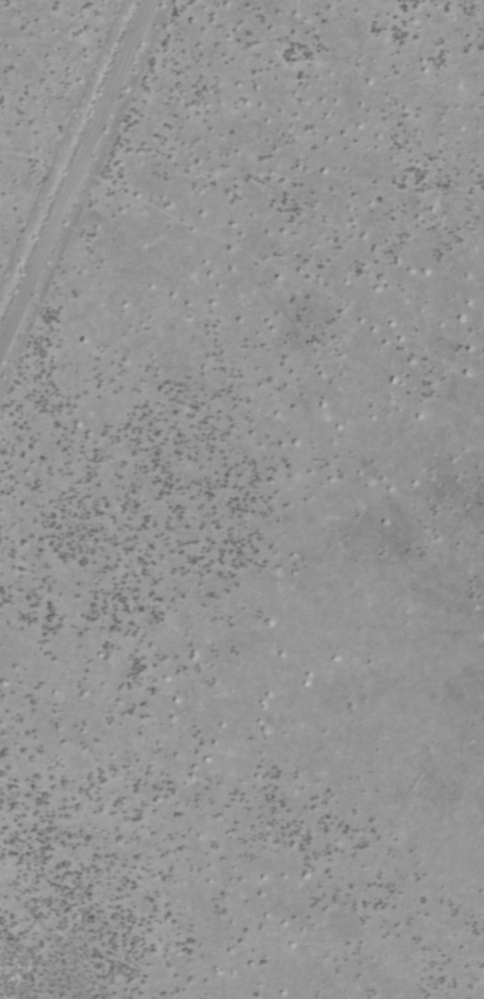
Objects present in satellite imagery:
road: (77, 178)

